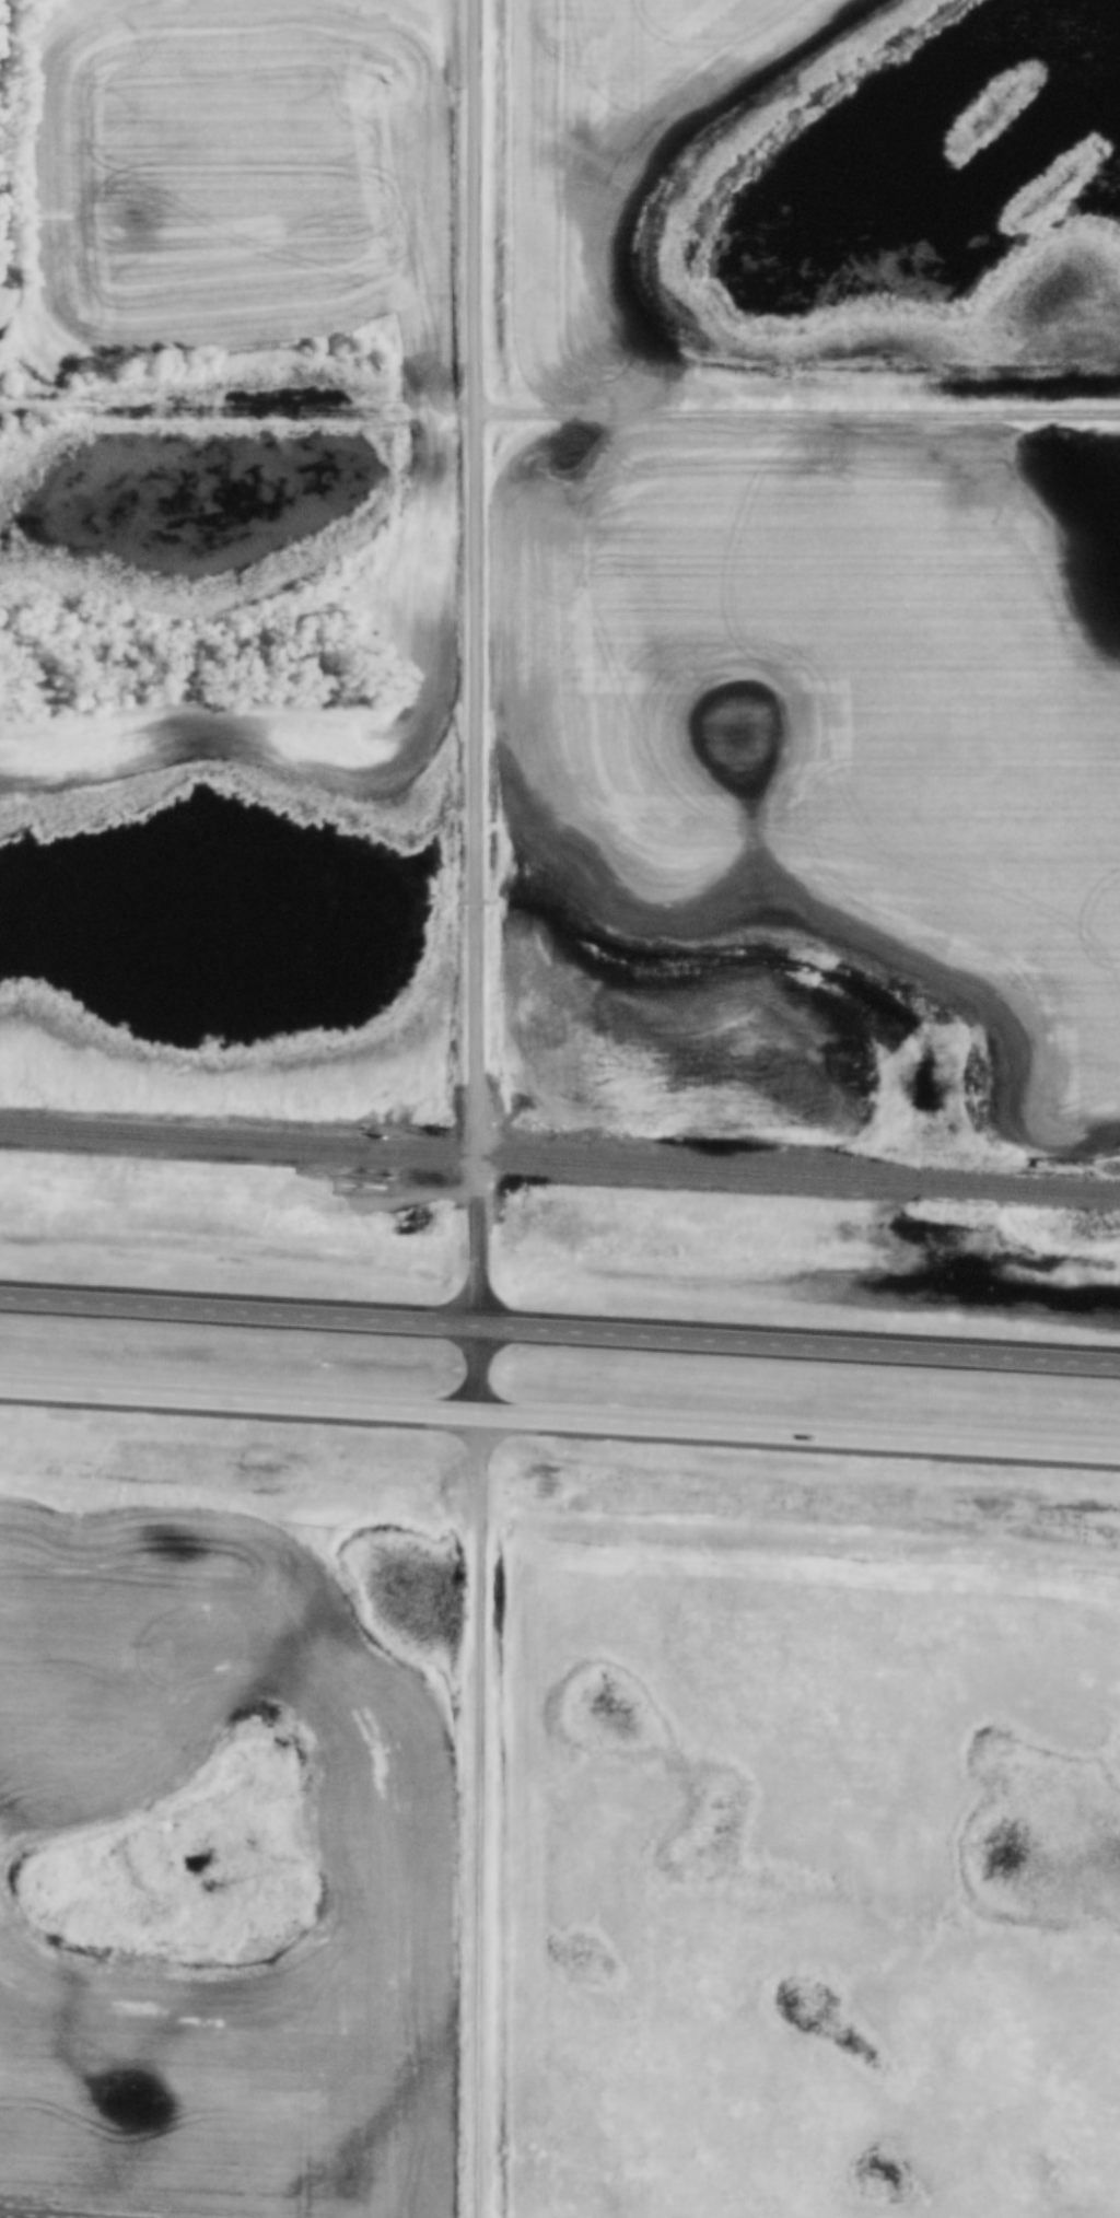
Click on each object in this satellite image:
road: (794, 411)
road: (234, 416)
road: (468, 596)
railway: (560, 1163)
road: (412, 1193)
road: (472, 1303)
road: (560, 1329)
road: (560, 1417)
road: (474, 1814)

